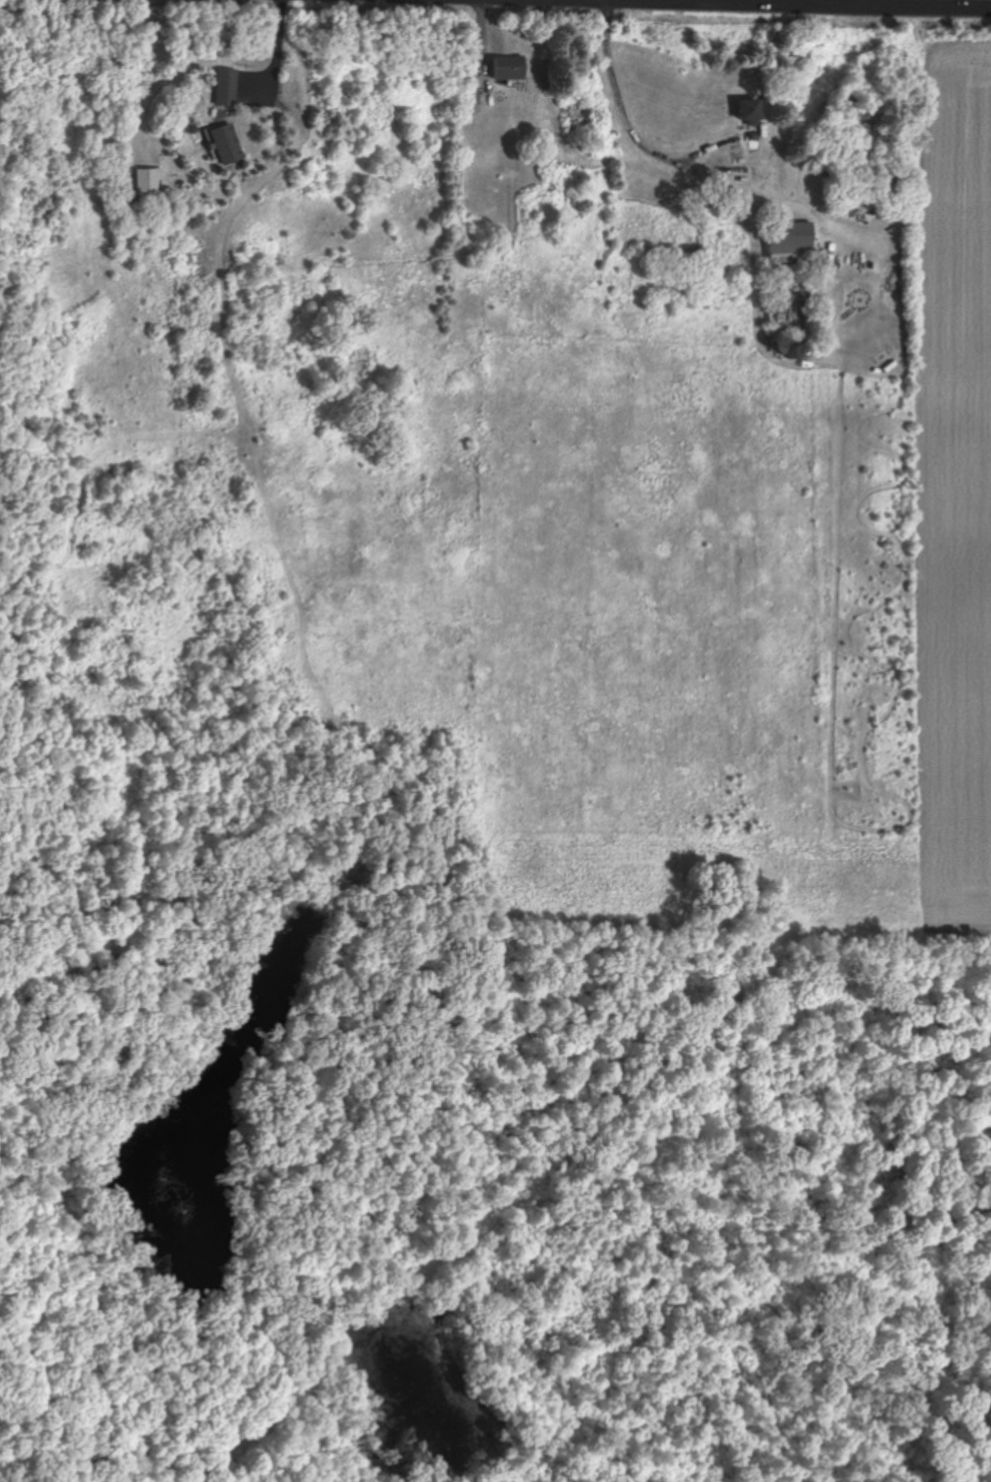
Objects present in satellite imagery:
road: (920, 1)
building: (505, 68)
building: (225, 88)
building: (747, 114)
building: (225, 145)
building: (147, 183)
building: (790, 240)

